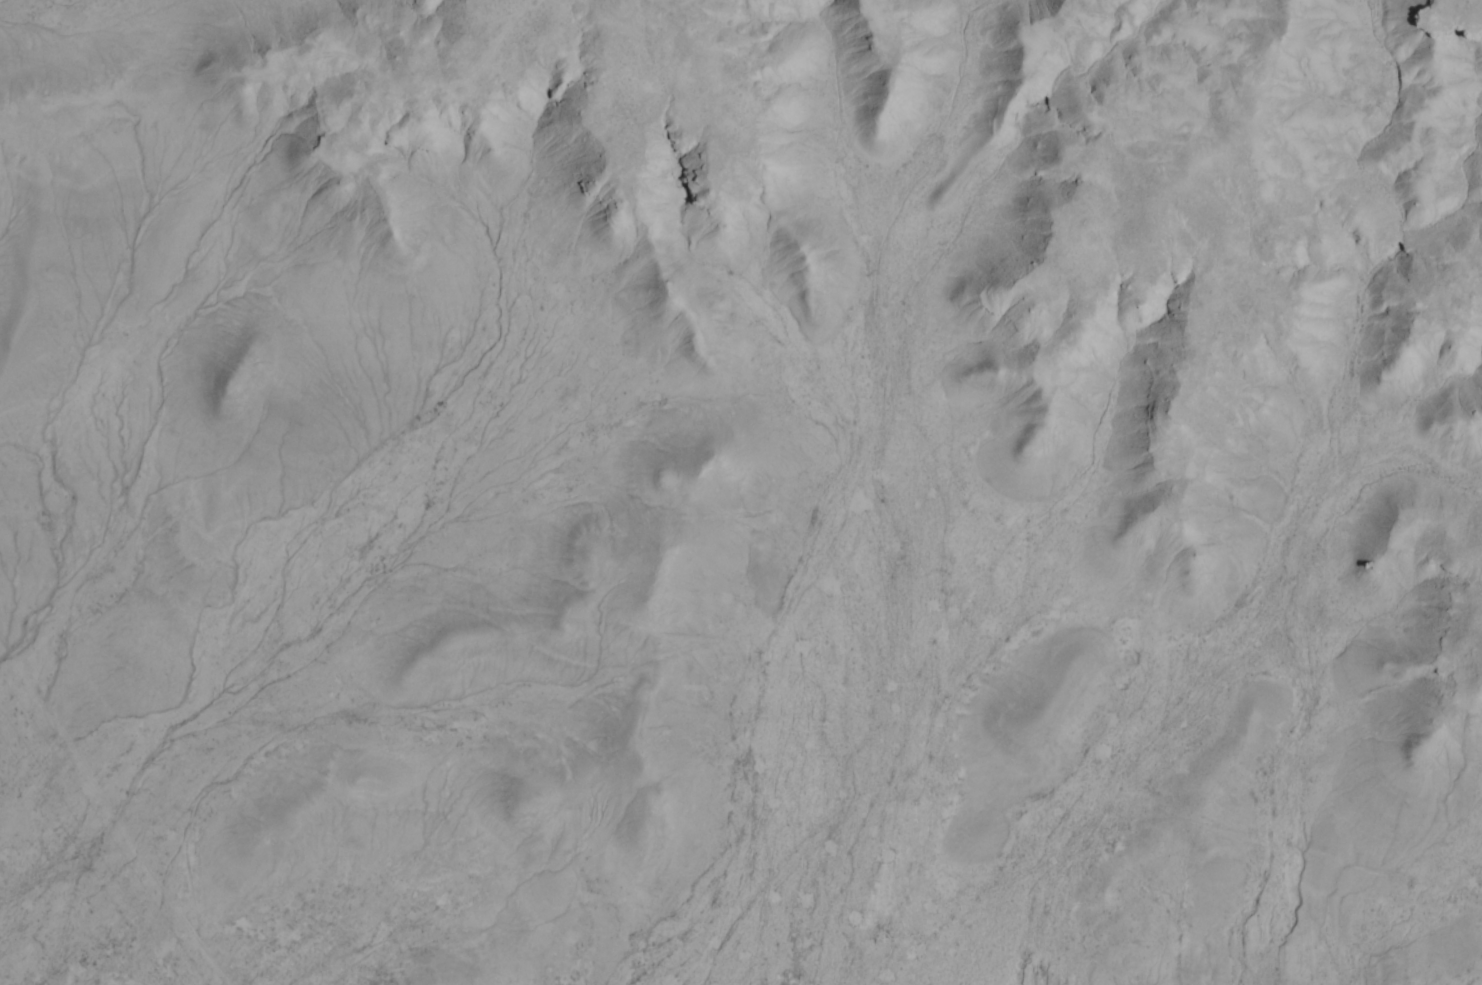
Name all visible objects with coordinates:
road: (112, 816)

